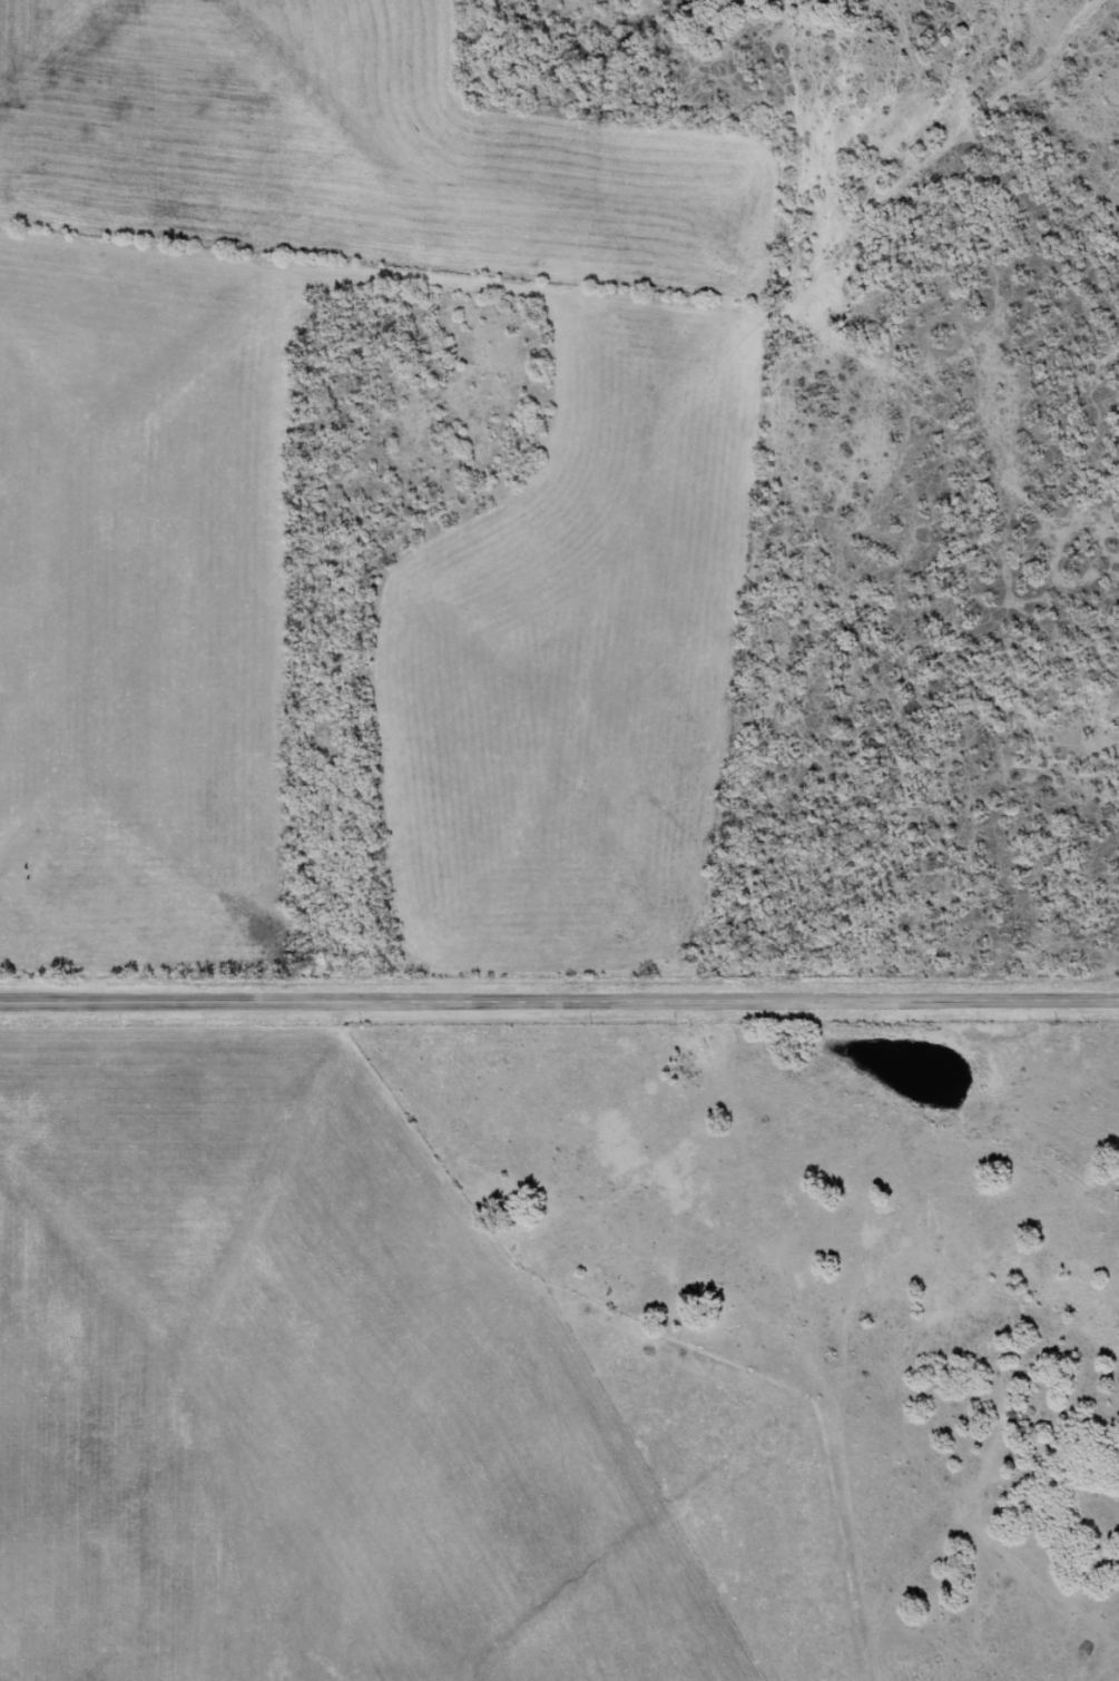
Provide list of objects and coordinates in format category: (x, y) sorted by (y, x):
road: (559, 999)

